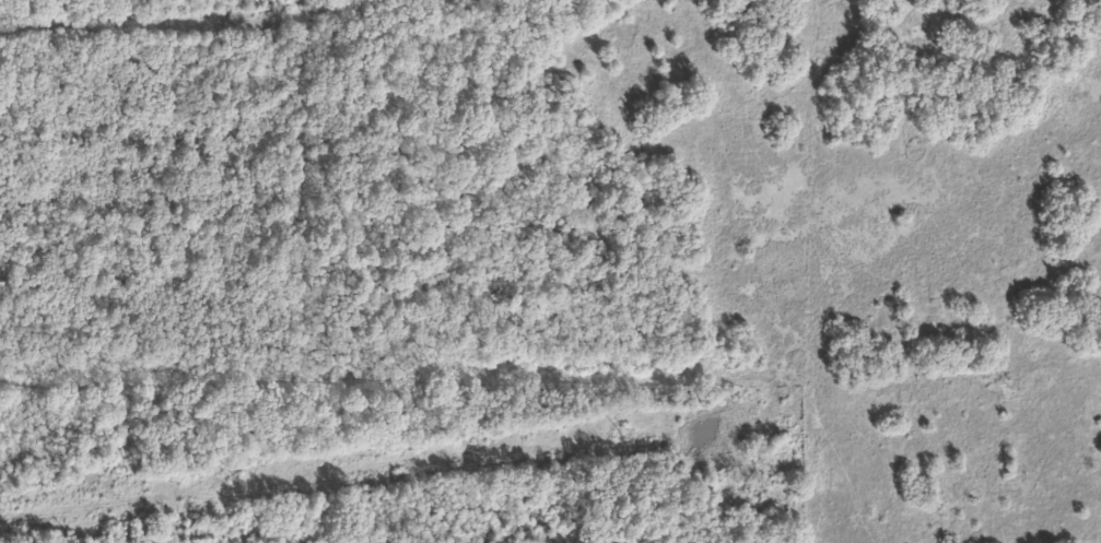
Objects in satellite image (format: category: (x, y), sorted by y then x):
power tower: (1009, 383)
power tower: (625, 434)
power tower: (238, 483)

